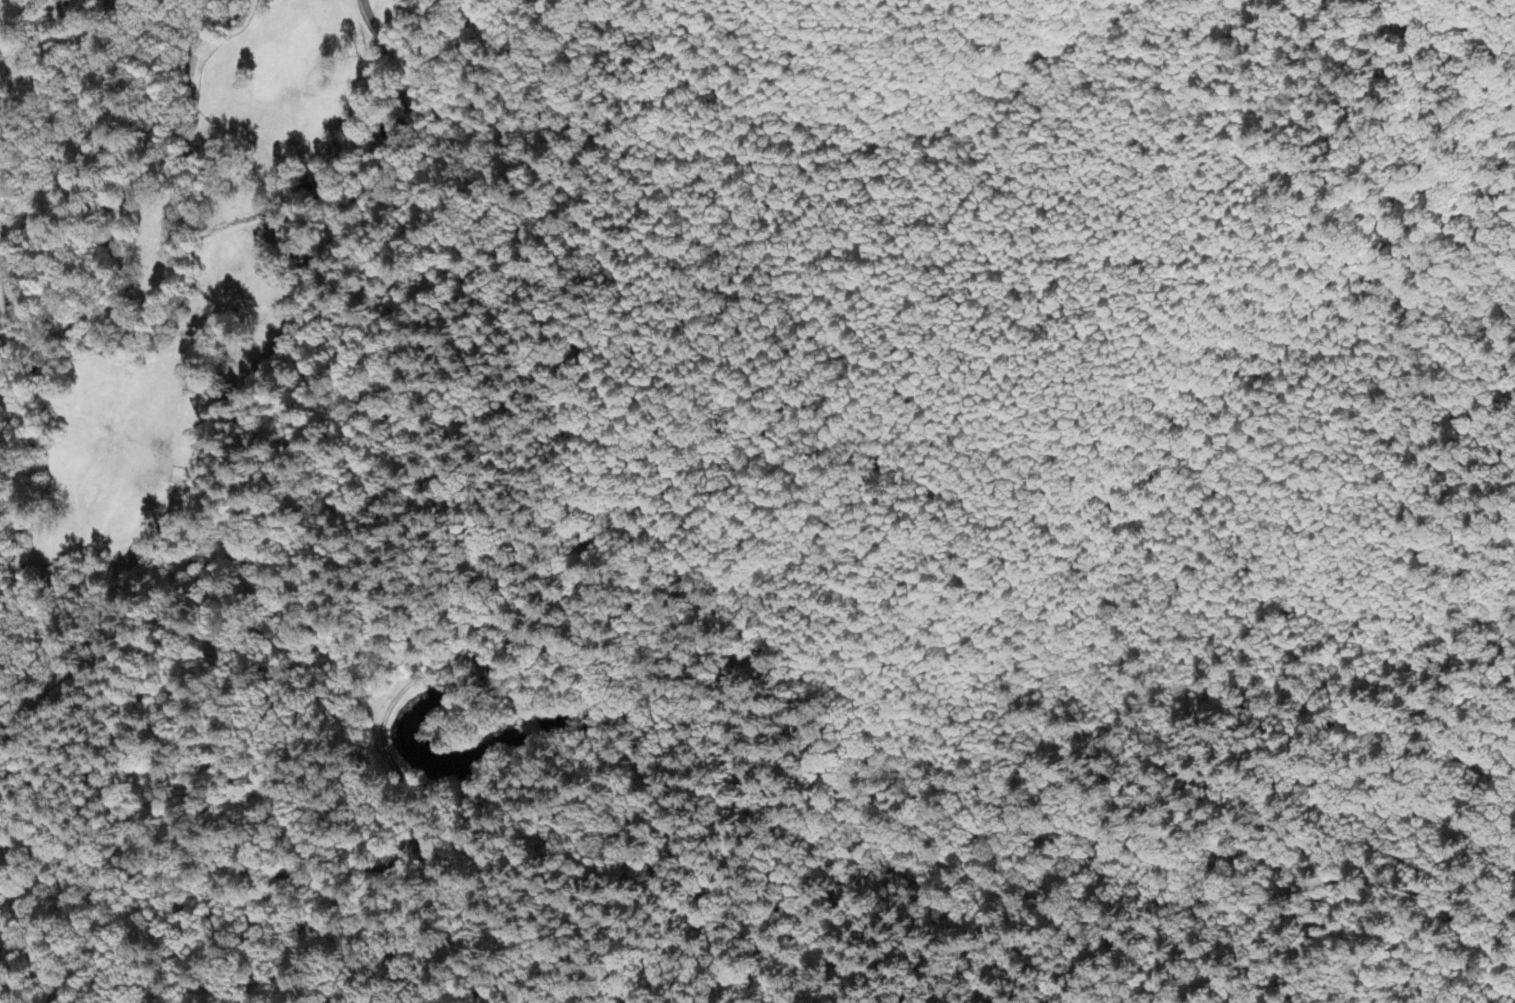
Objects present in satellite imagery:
road: (43, 198)
road: (805, 991)

